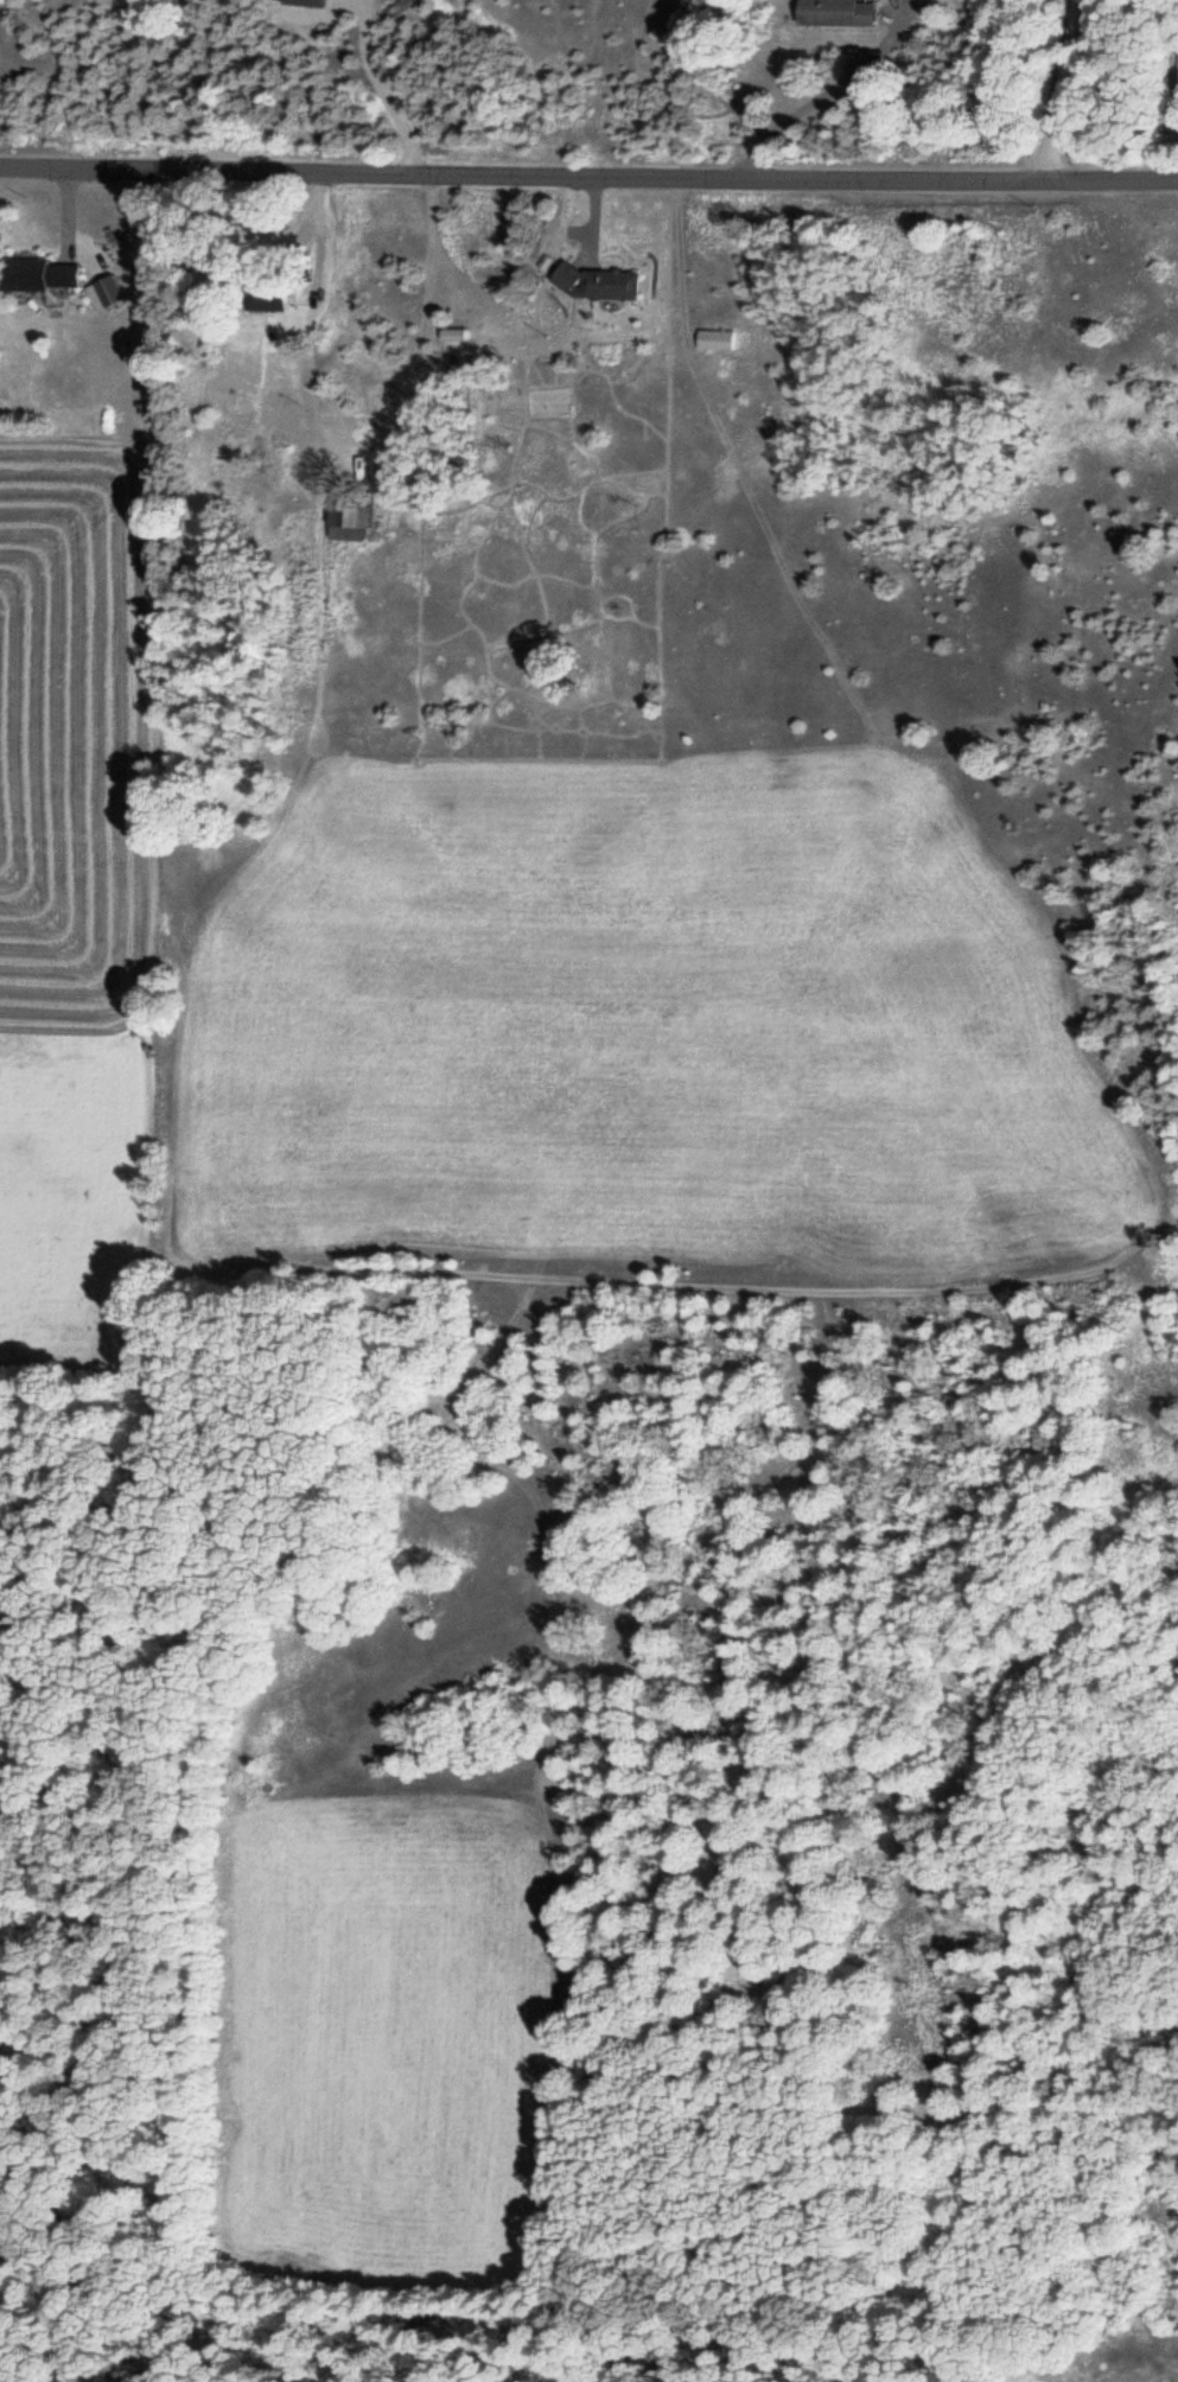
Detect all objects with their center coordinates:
building: (833, 12)
building: (1176, 70)
road: (1061, 88)
road: (824, 89)
road: (588, 176)
building: (37, 273)
building: (593, 280)
building: (107, 288)
building: (262, 291)
building: (713, 337)
building: (826, 418)
building: (348, 514)

